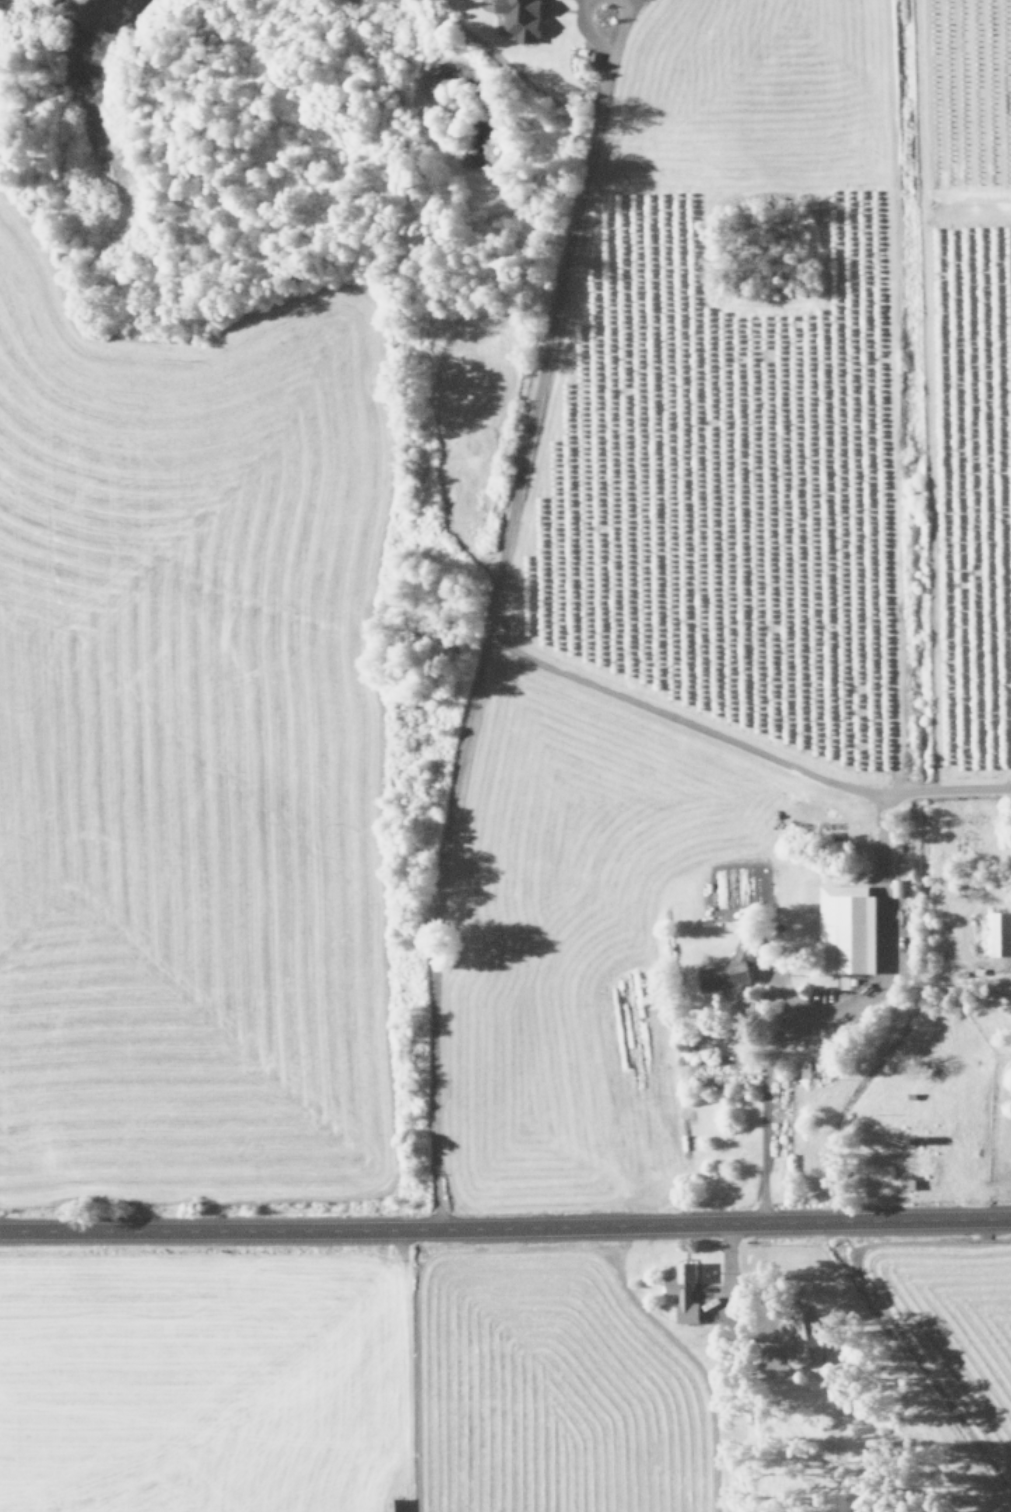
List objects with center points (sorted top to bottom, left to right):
road: (618, 25)
road: (576, 32)
road: (541, 344)
road: (736, 752)
crop: (505, 756)
building: (901, 888)
building: (844, 929)
road: (427, 930)
building: (998, 934)
building: (726, 969)
road: (818, 1011)
building: (802, 1067)
building: (908, 1096)
building: (899, 1141)
building: (905, 1185)
road: (505, 1226)
building: (680, 1293)
building: (797, 1339)

